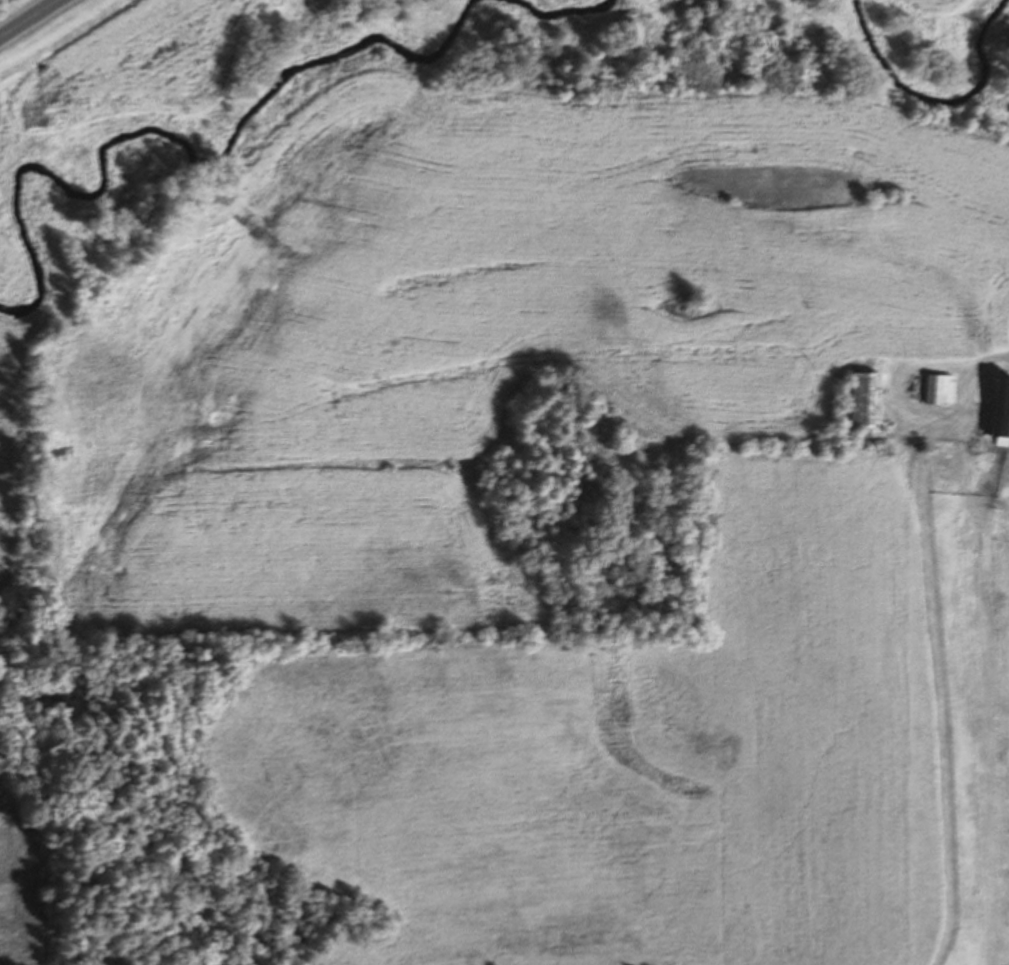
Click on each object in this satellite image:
road: (29, 18)
road: (972, 362)
building: (934, 387)
building: (859, 399)
building: (998, 407)

